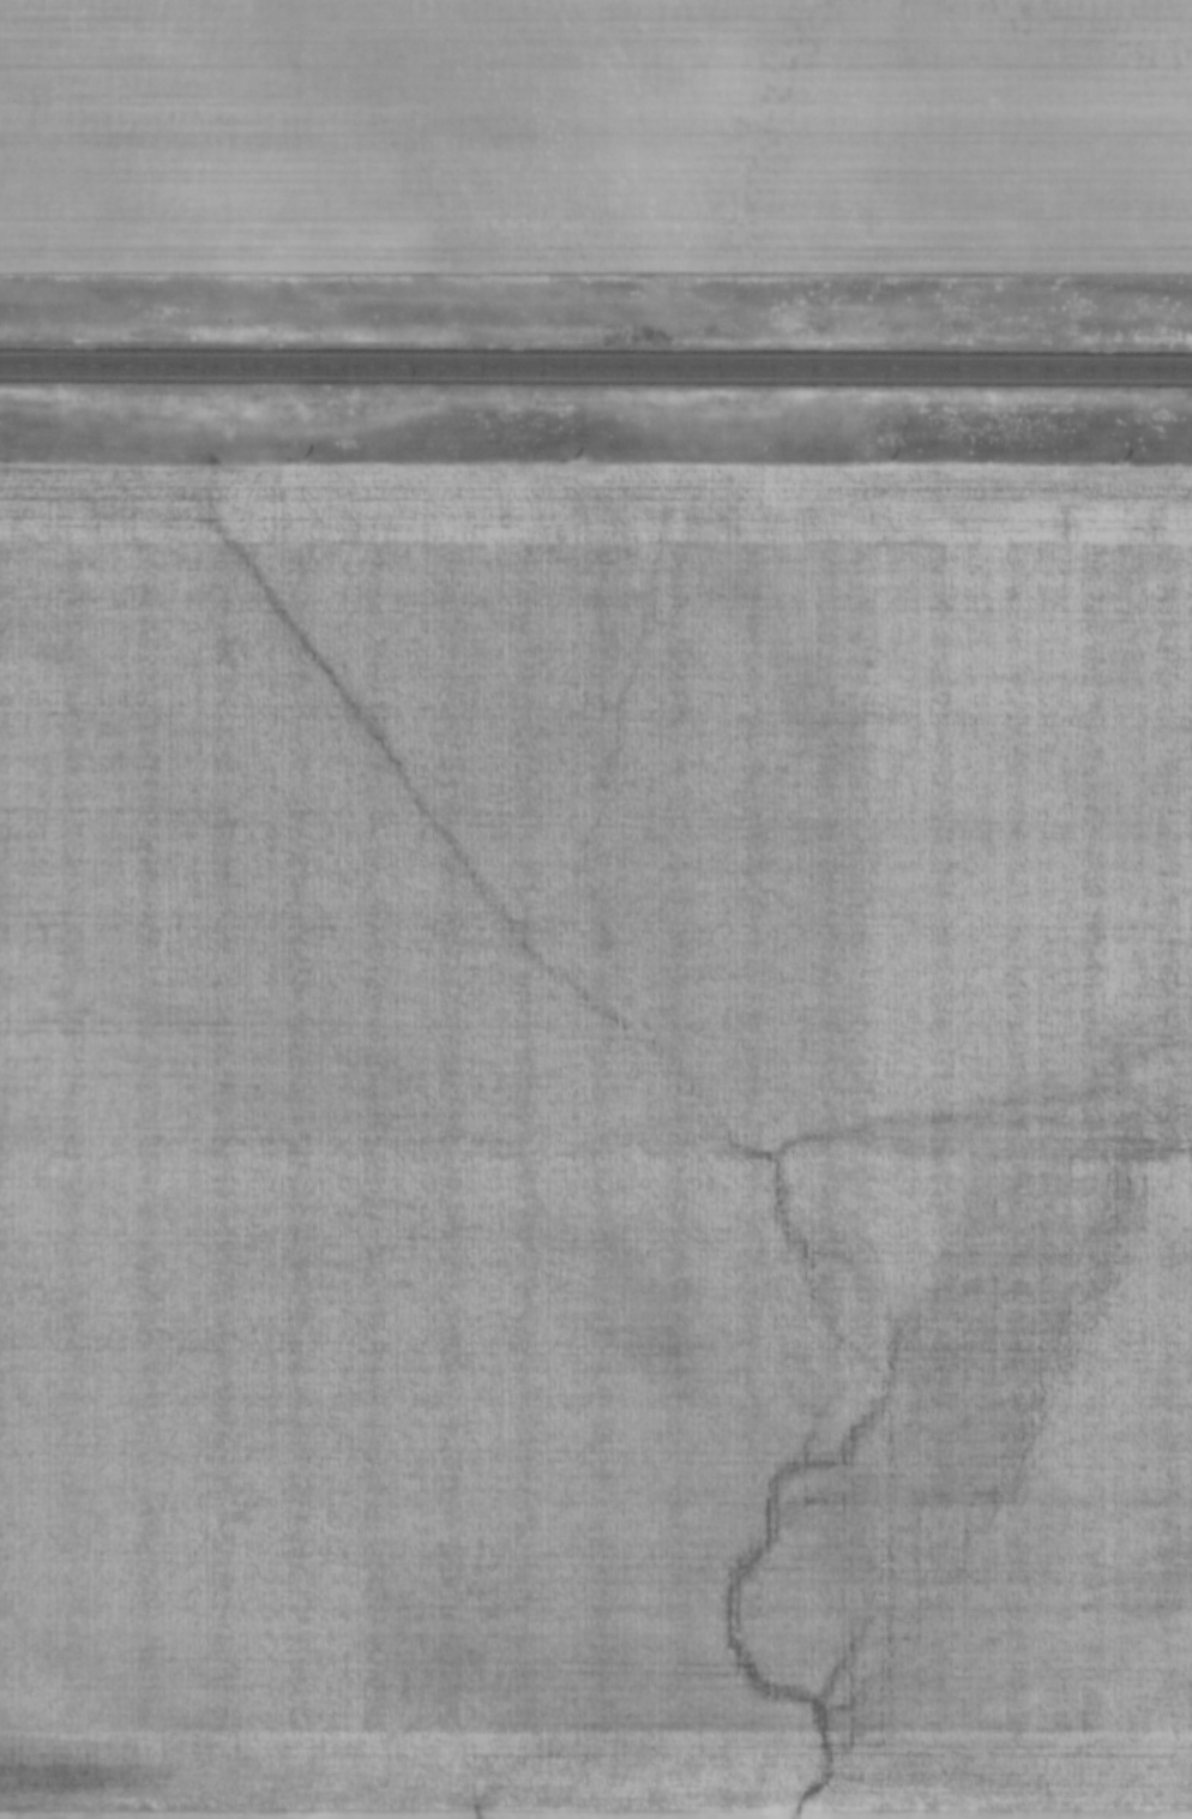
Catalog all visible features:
road: (596, 386)

